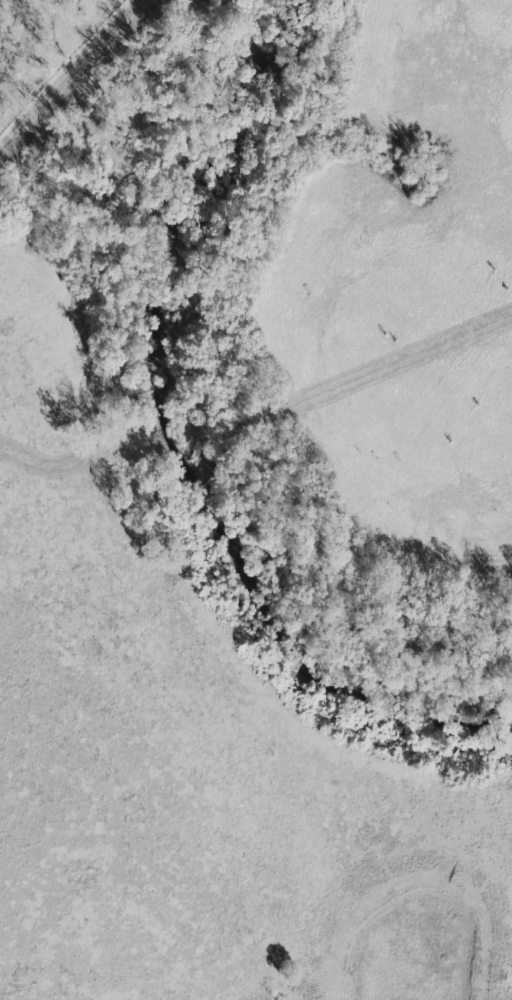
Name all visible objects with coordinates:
road: (75, 81)
park: (123, 102)

